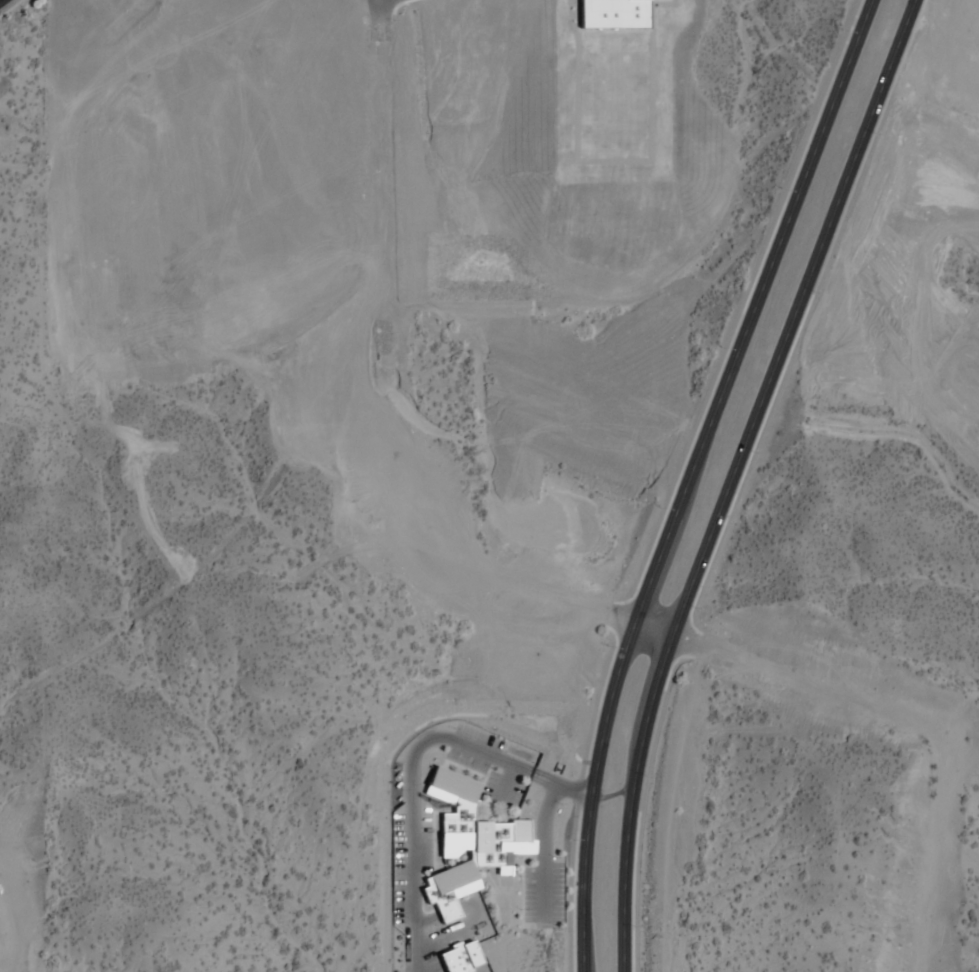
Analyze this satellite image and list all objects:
road: (399, 6)
road: (10, 8)
building: (608, 15)
road: (382, 402)
road: (693, 477)
road: (736, 478)
road: (541, 828)
building: (468, 843)
building: (460, 958)

